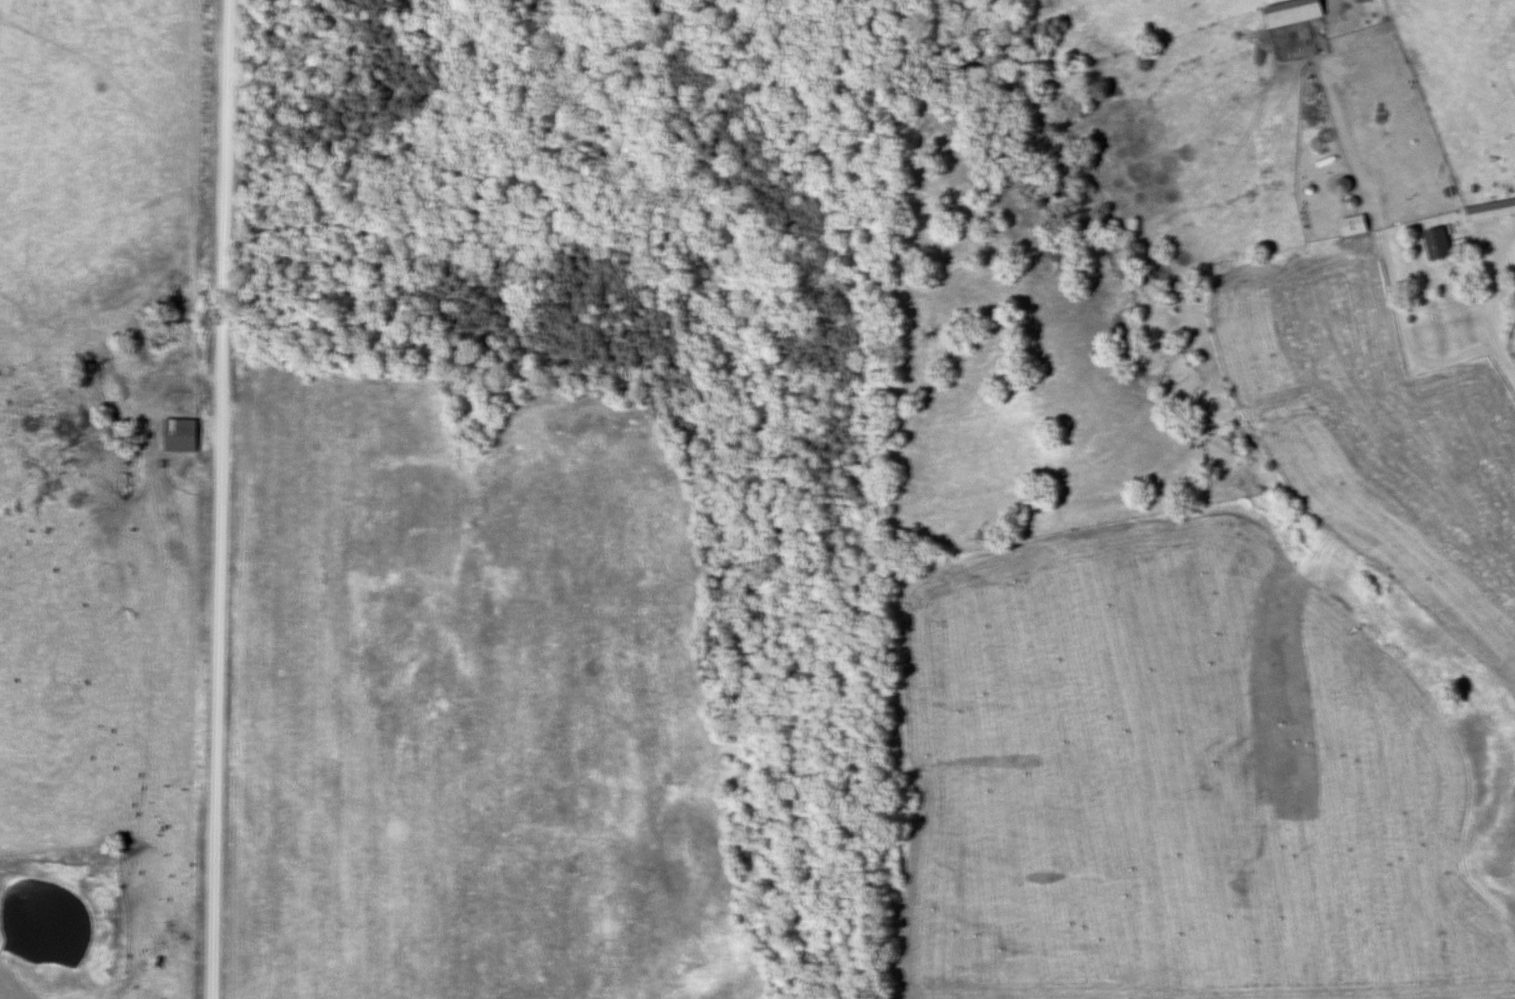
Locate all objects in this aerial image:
building: (1295, 11)
building: (1346, 184)
building: (1492, 209)
building: (1356, 224)
building: (1440, 242)
road: (1486, 400)
building: (183, 434)
road: (223, 499)

